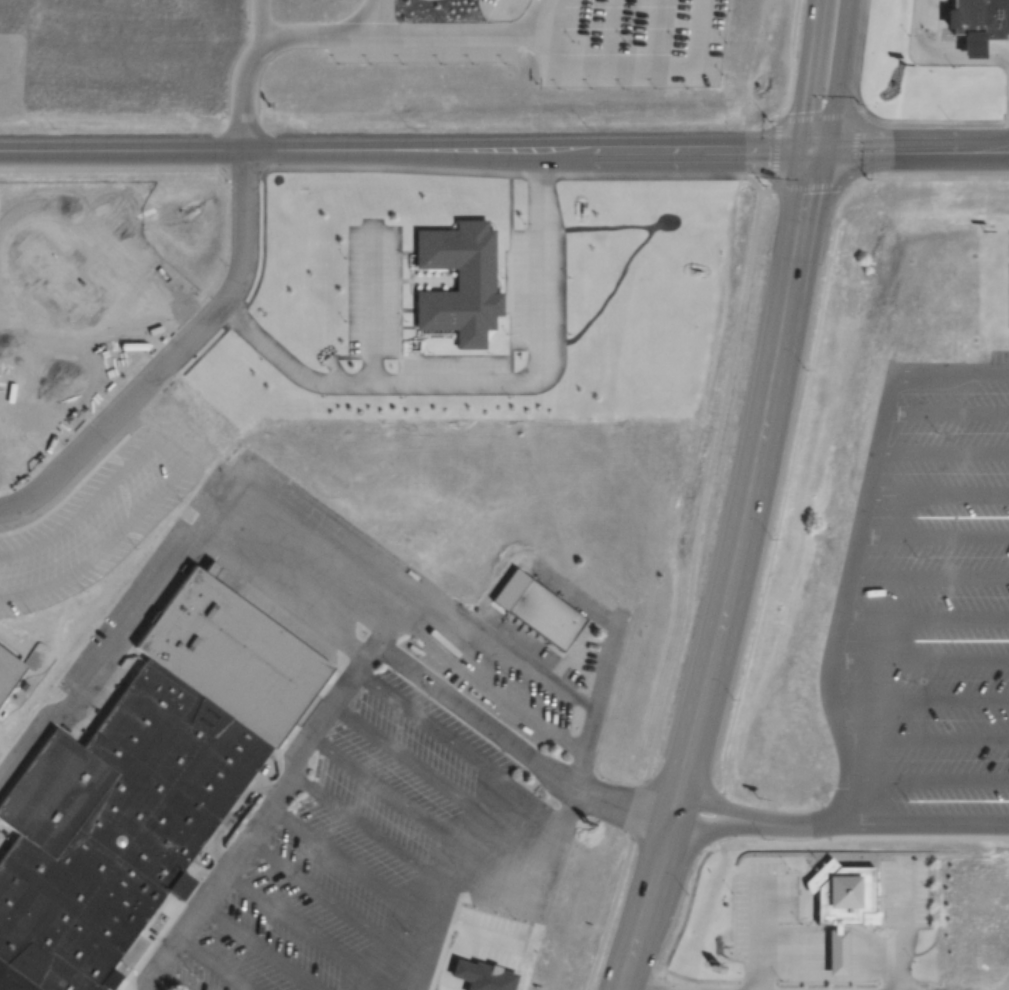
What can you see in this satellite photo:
road: (539, 17)
building: (969, 24)
road: (257, 25)
road: (340, 34)
road: (820, 74)
road: (845, 76)
road: (893, 125)
road: (411, 147)
road: (915, 149)
traffic signals: (822, 150)
road: (517, 176)
road: (847, 194)
building: (464, 283)
road: (171, 355)
road: (489, 390)
road: (947, 410)
road: (943, 451)
road: (938, 493)
parking lot: (92, 521)
road: (933, 534)
road: (856, 540)
road: (392, 566)
road: (729, 572)
road: (929, 574)
road: (690, 594)
road: (281, 596)
parking lot: (935, 603)
road: (397, 614)
road: (924, 617)
building: (547, 618)
building: (0, 641)
road: (919, 657)
building: (9, 672)
building: (112, 681)
road: (919, 697)
road: (482, 720)
road: (924, 738)
road: (928, 780)
building: (144, 790)
parking lot: (372, 849)
building: (840, 906)

